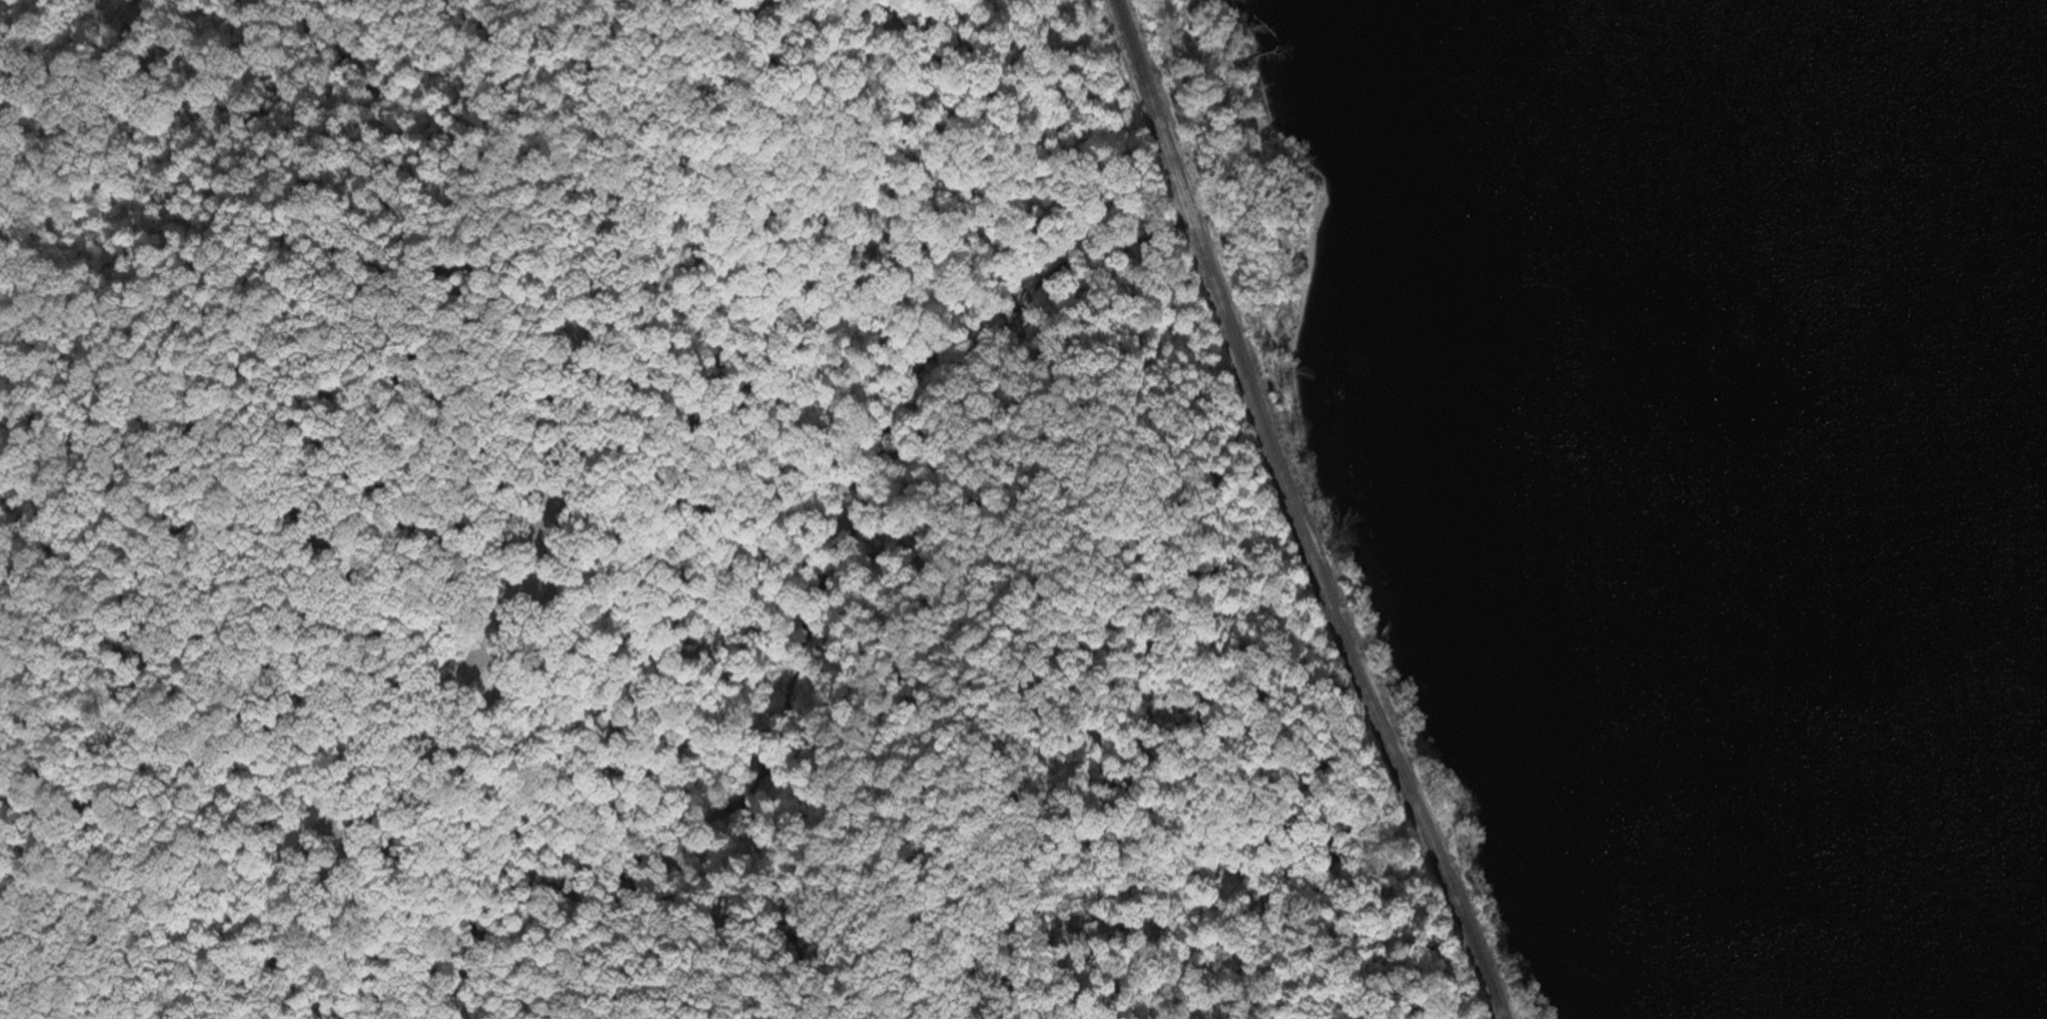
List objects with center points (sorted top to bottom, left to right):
river: (1960, 369)
railway: (1302, 512)
road: (220, 683)
road: (432, 709)
road: (253, 925)
road: (779, 954)
road: (824, 973)

